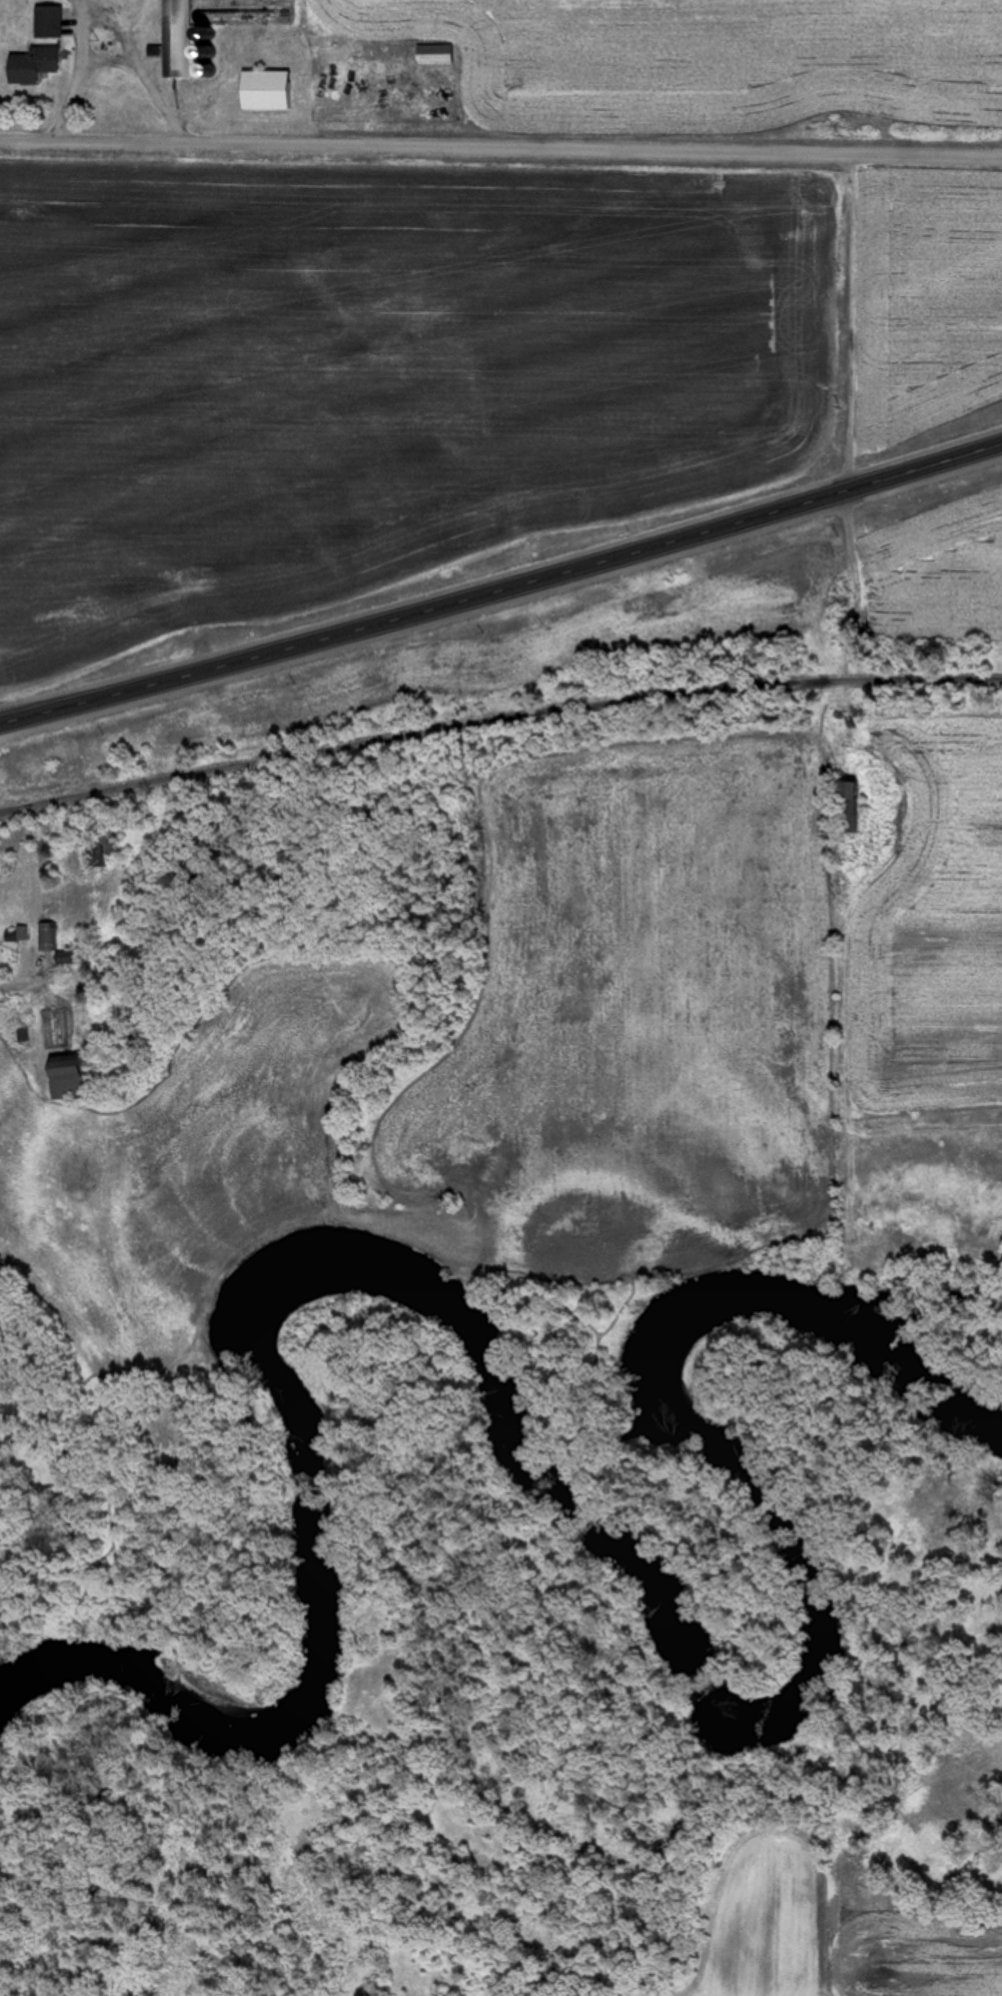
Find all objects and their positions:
building: (173, 12)
building: (44, 21)
building: (431, 55)
building: (27, 64)
building: (261, 89)
road: (501, 146)
road: (501, 577)
road: (497, 719)
building: (844, 806)
building: (97, 851)
building: (44, 937)
building: (61, 1078)
river: (752, 1345)
river: (325, 1426)
river: (828, 1607)
river: (775, 1681)

